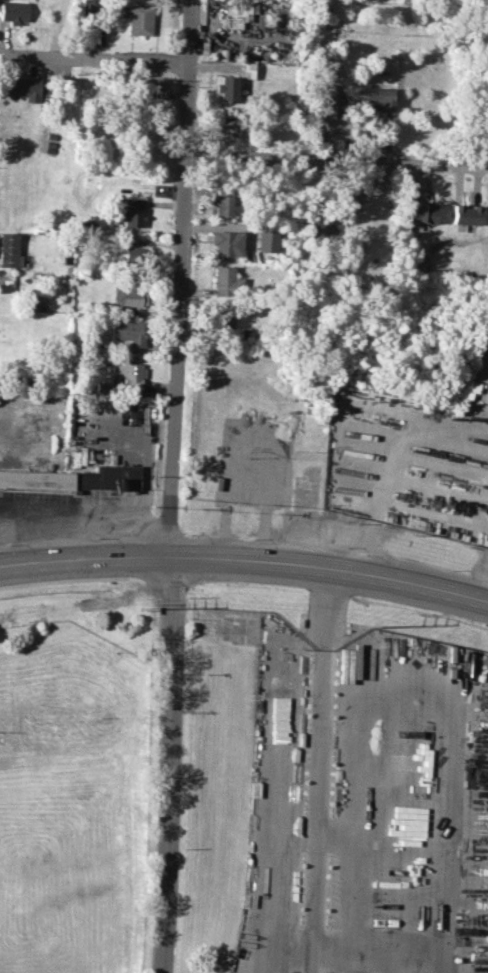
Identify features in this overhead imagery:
building: (13, 11)
building: (235, 14)
building: (139, 19)
road: (93, 56)
building: (22, 87)
building: (226, 88)
building: (375, 96)
building: (325, 101)
building: (226, 127)
road: (335, 161)
building: (223, 201)
building: (130, 212)
building: (419, 212)
building: (465, 214)
building: (322, 225)
building: (265, 240)
building: (225, 242)
building: (9, 250)
building: (134, 254)
building: (225, 281)
building: (129, 297)
building: (221, 318)
building: (127, 331)
building: (129, 373)
road: (384, 468)
building: (75, 478)
road: (171, 486)
road: (246, 558)
road: (484, 591)
power tower: (140, 607)
power tower: (361, 625)
road: (320, 752)
road: (390, 944)
road: (295, 956)
road: (307, 956)

